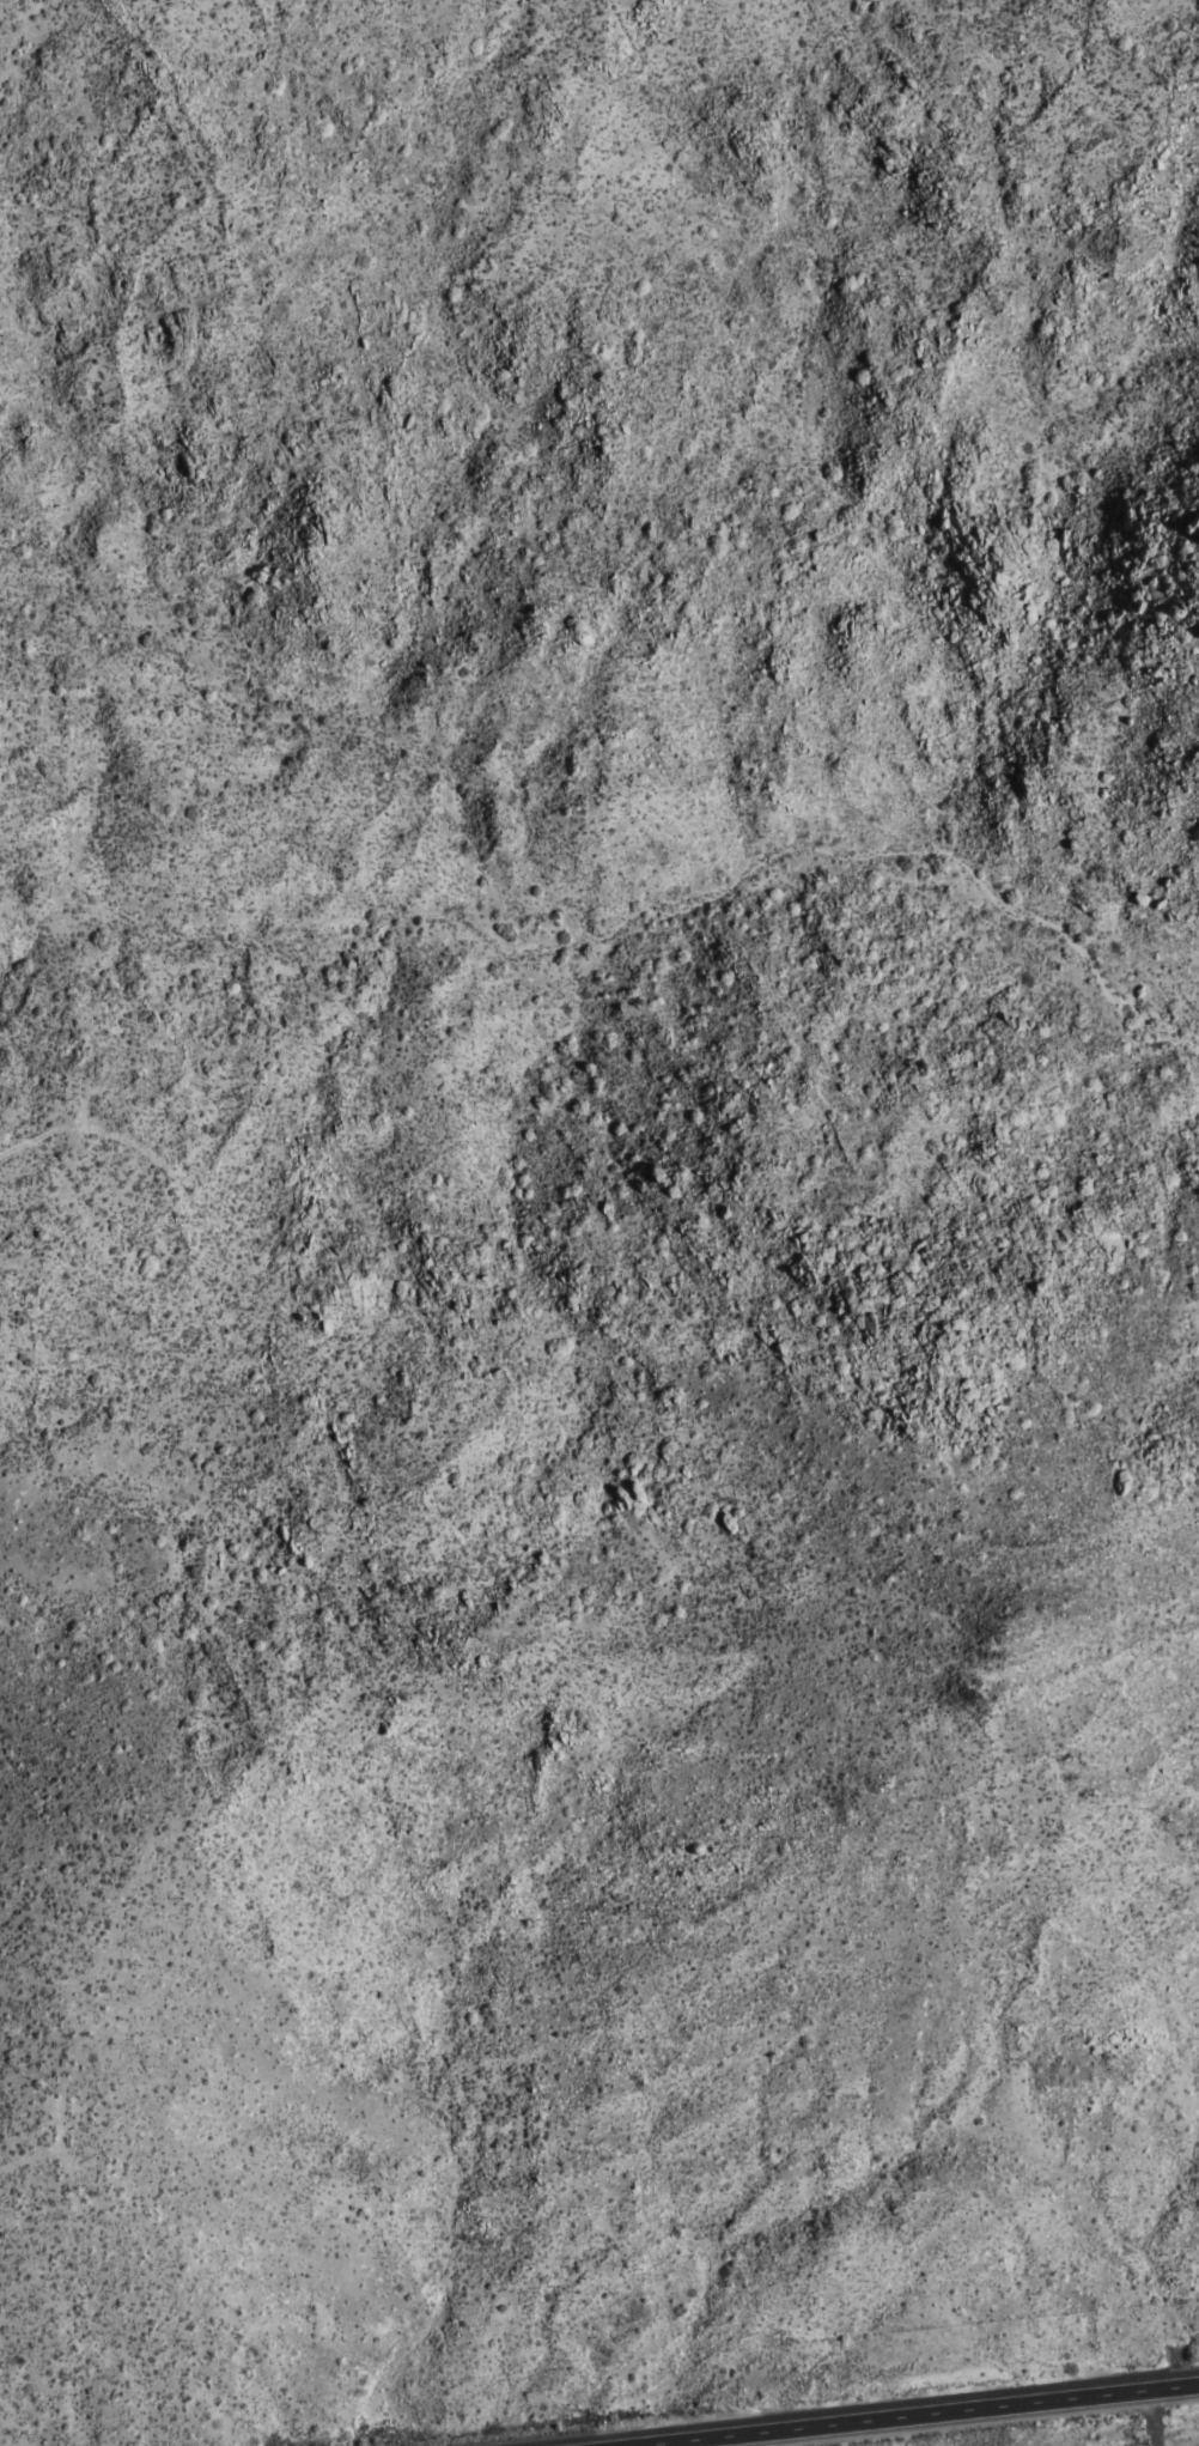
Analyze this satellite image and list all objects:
road: (905, 2414)

